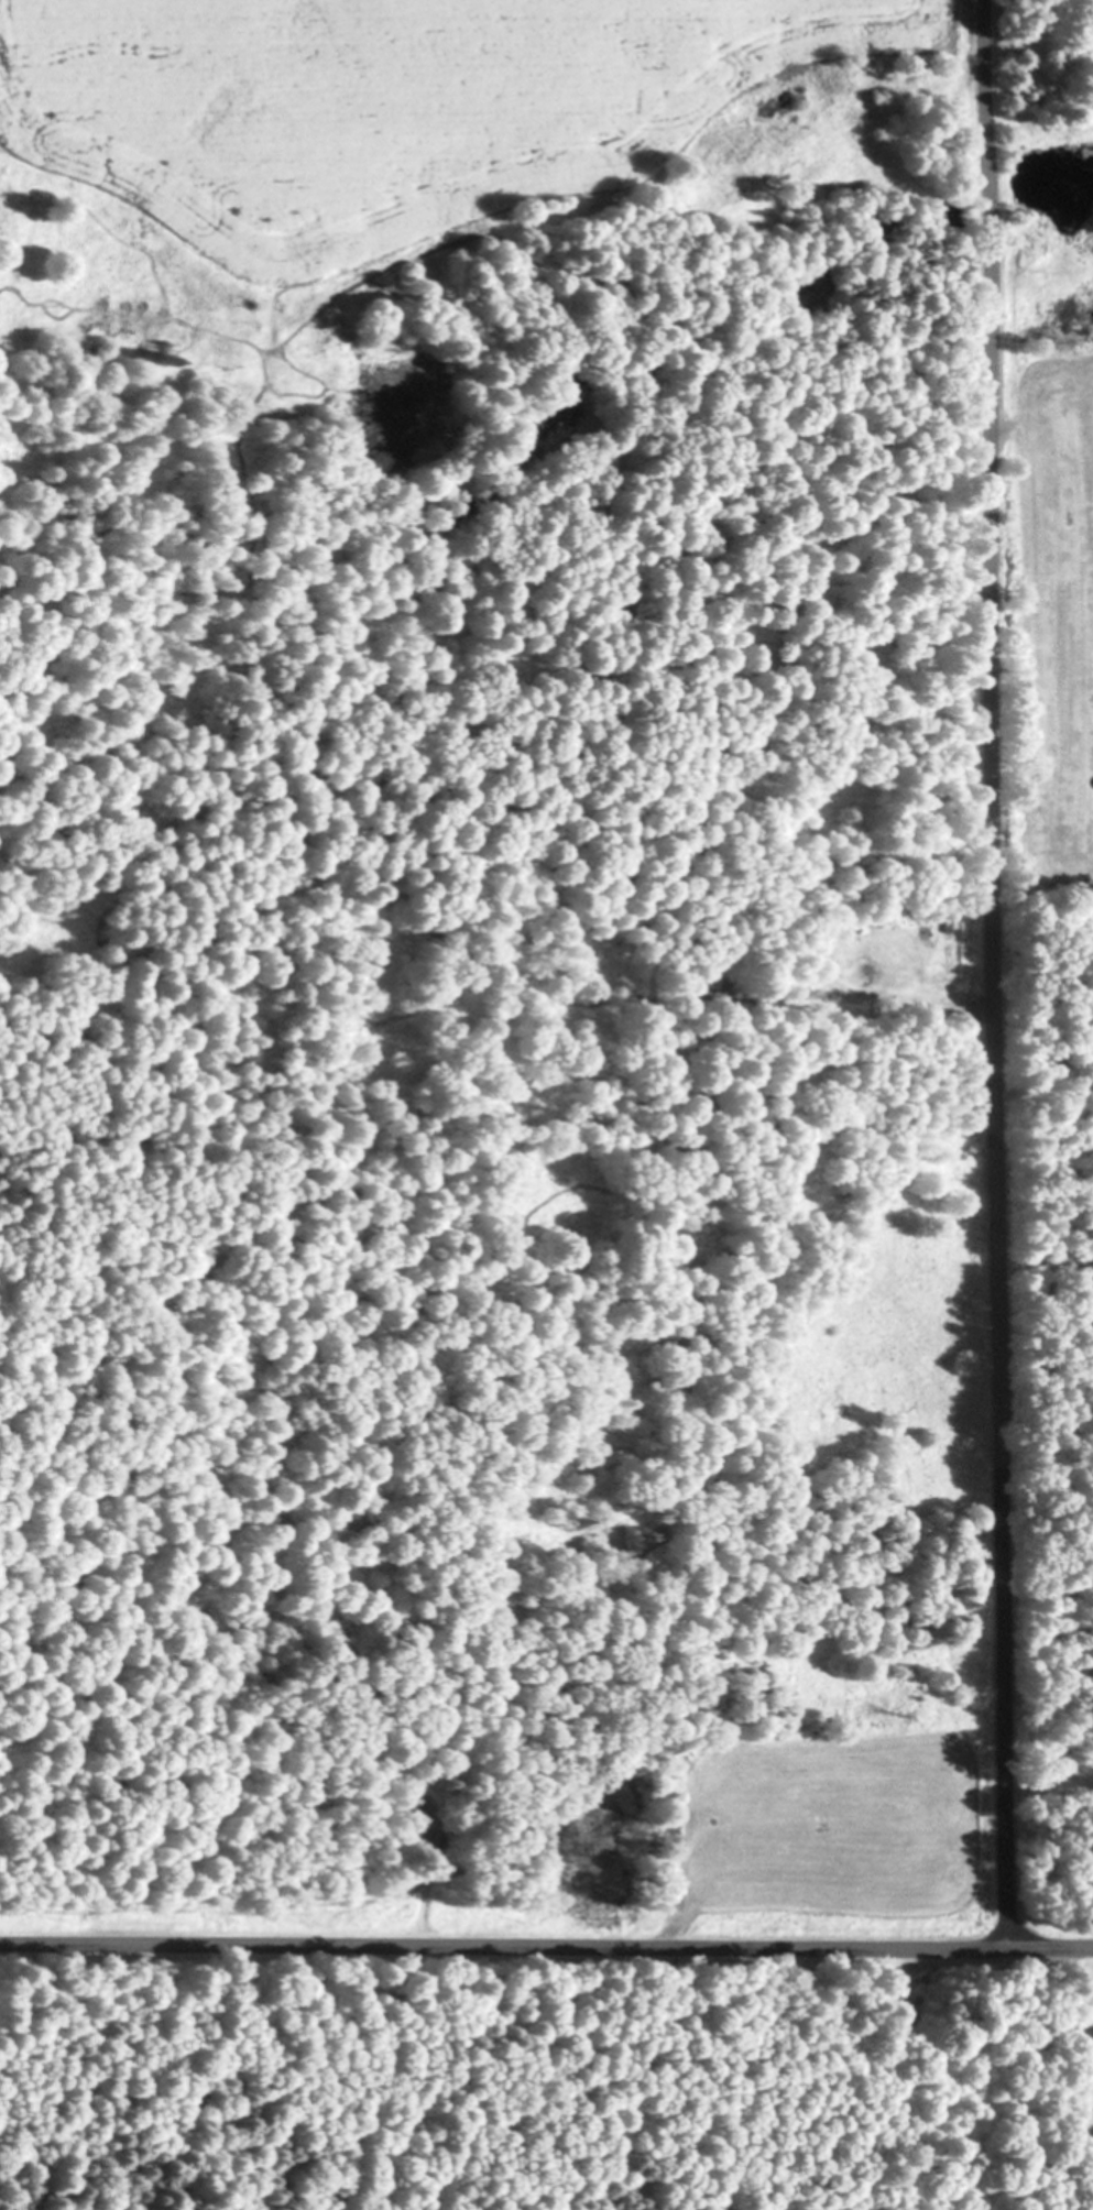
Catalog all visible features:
road: (995, 973)
road: (546, 1945)

